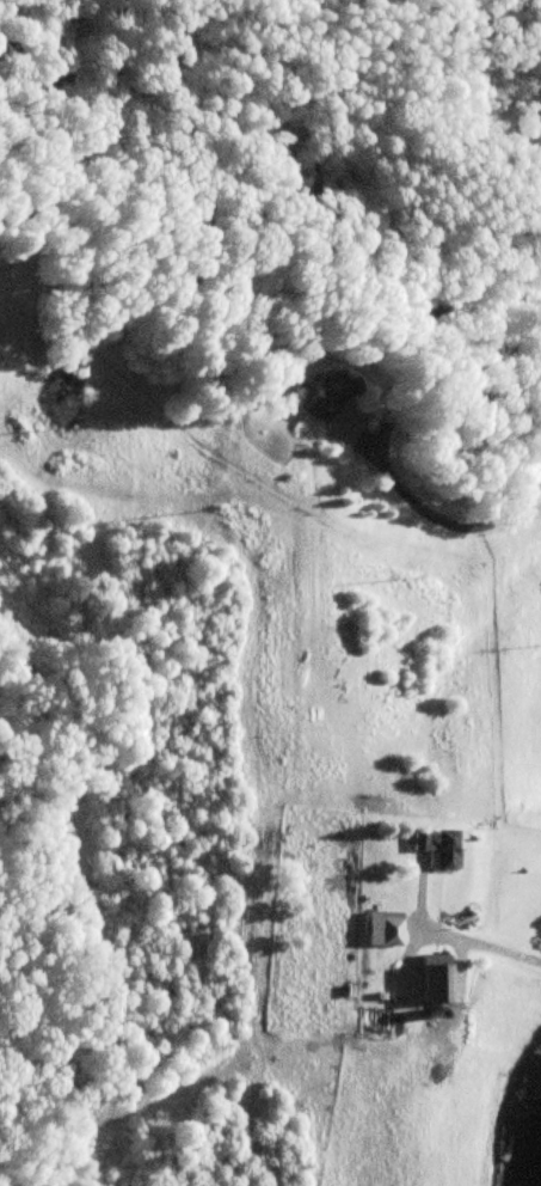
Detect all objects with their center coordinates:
building: (326, 396)
building: (439, 849)
building: (386, 928)
building: (439, 979)

